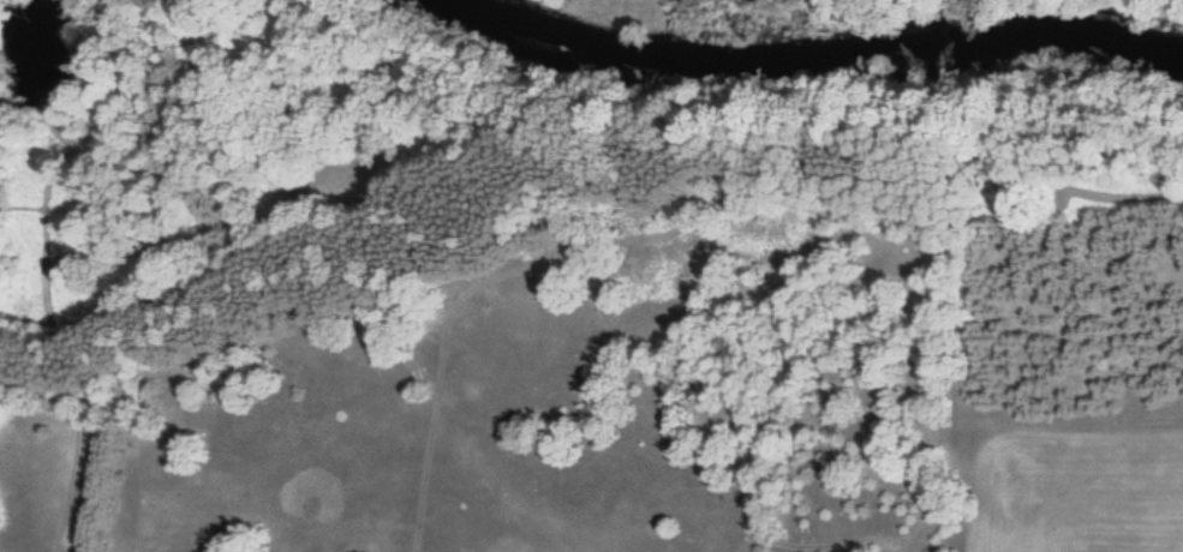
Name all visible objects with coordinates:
river: (806, 52)

